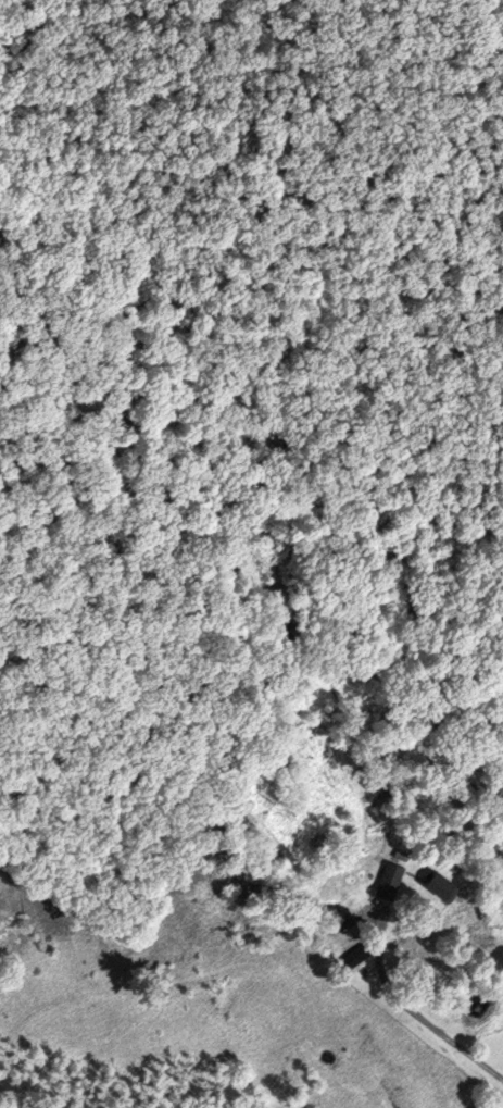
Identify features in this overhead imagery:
building: (390, 880)
building: (449, 887)
road: (408, 1006)

